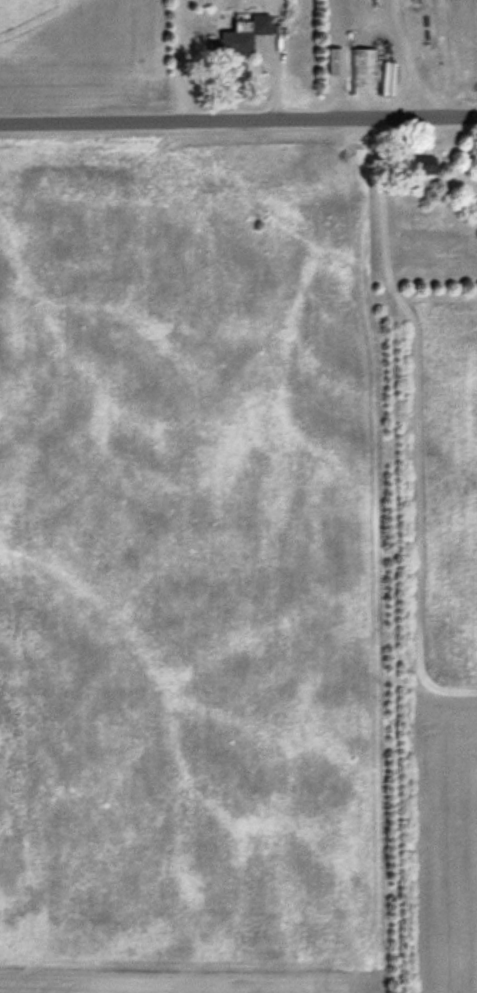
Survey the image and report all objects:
building: (242, 34)
building: (337, 60)
building: (363, 69)
road: (238, 123)
building: (423, 164)

